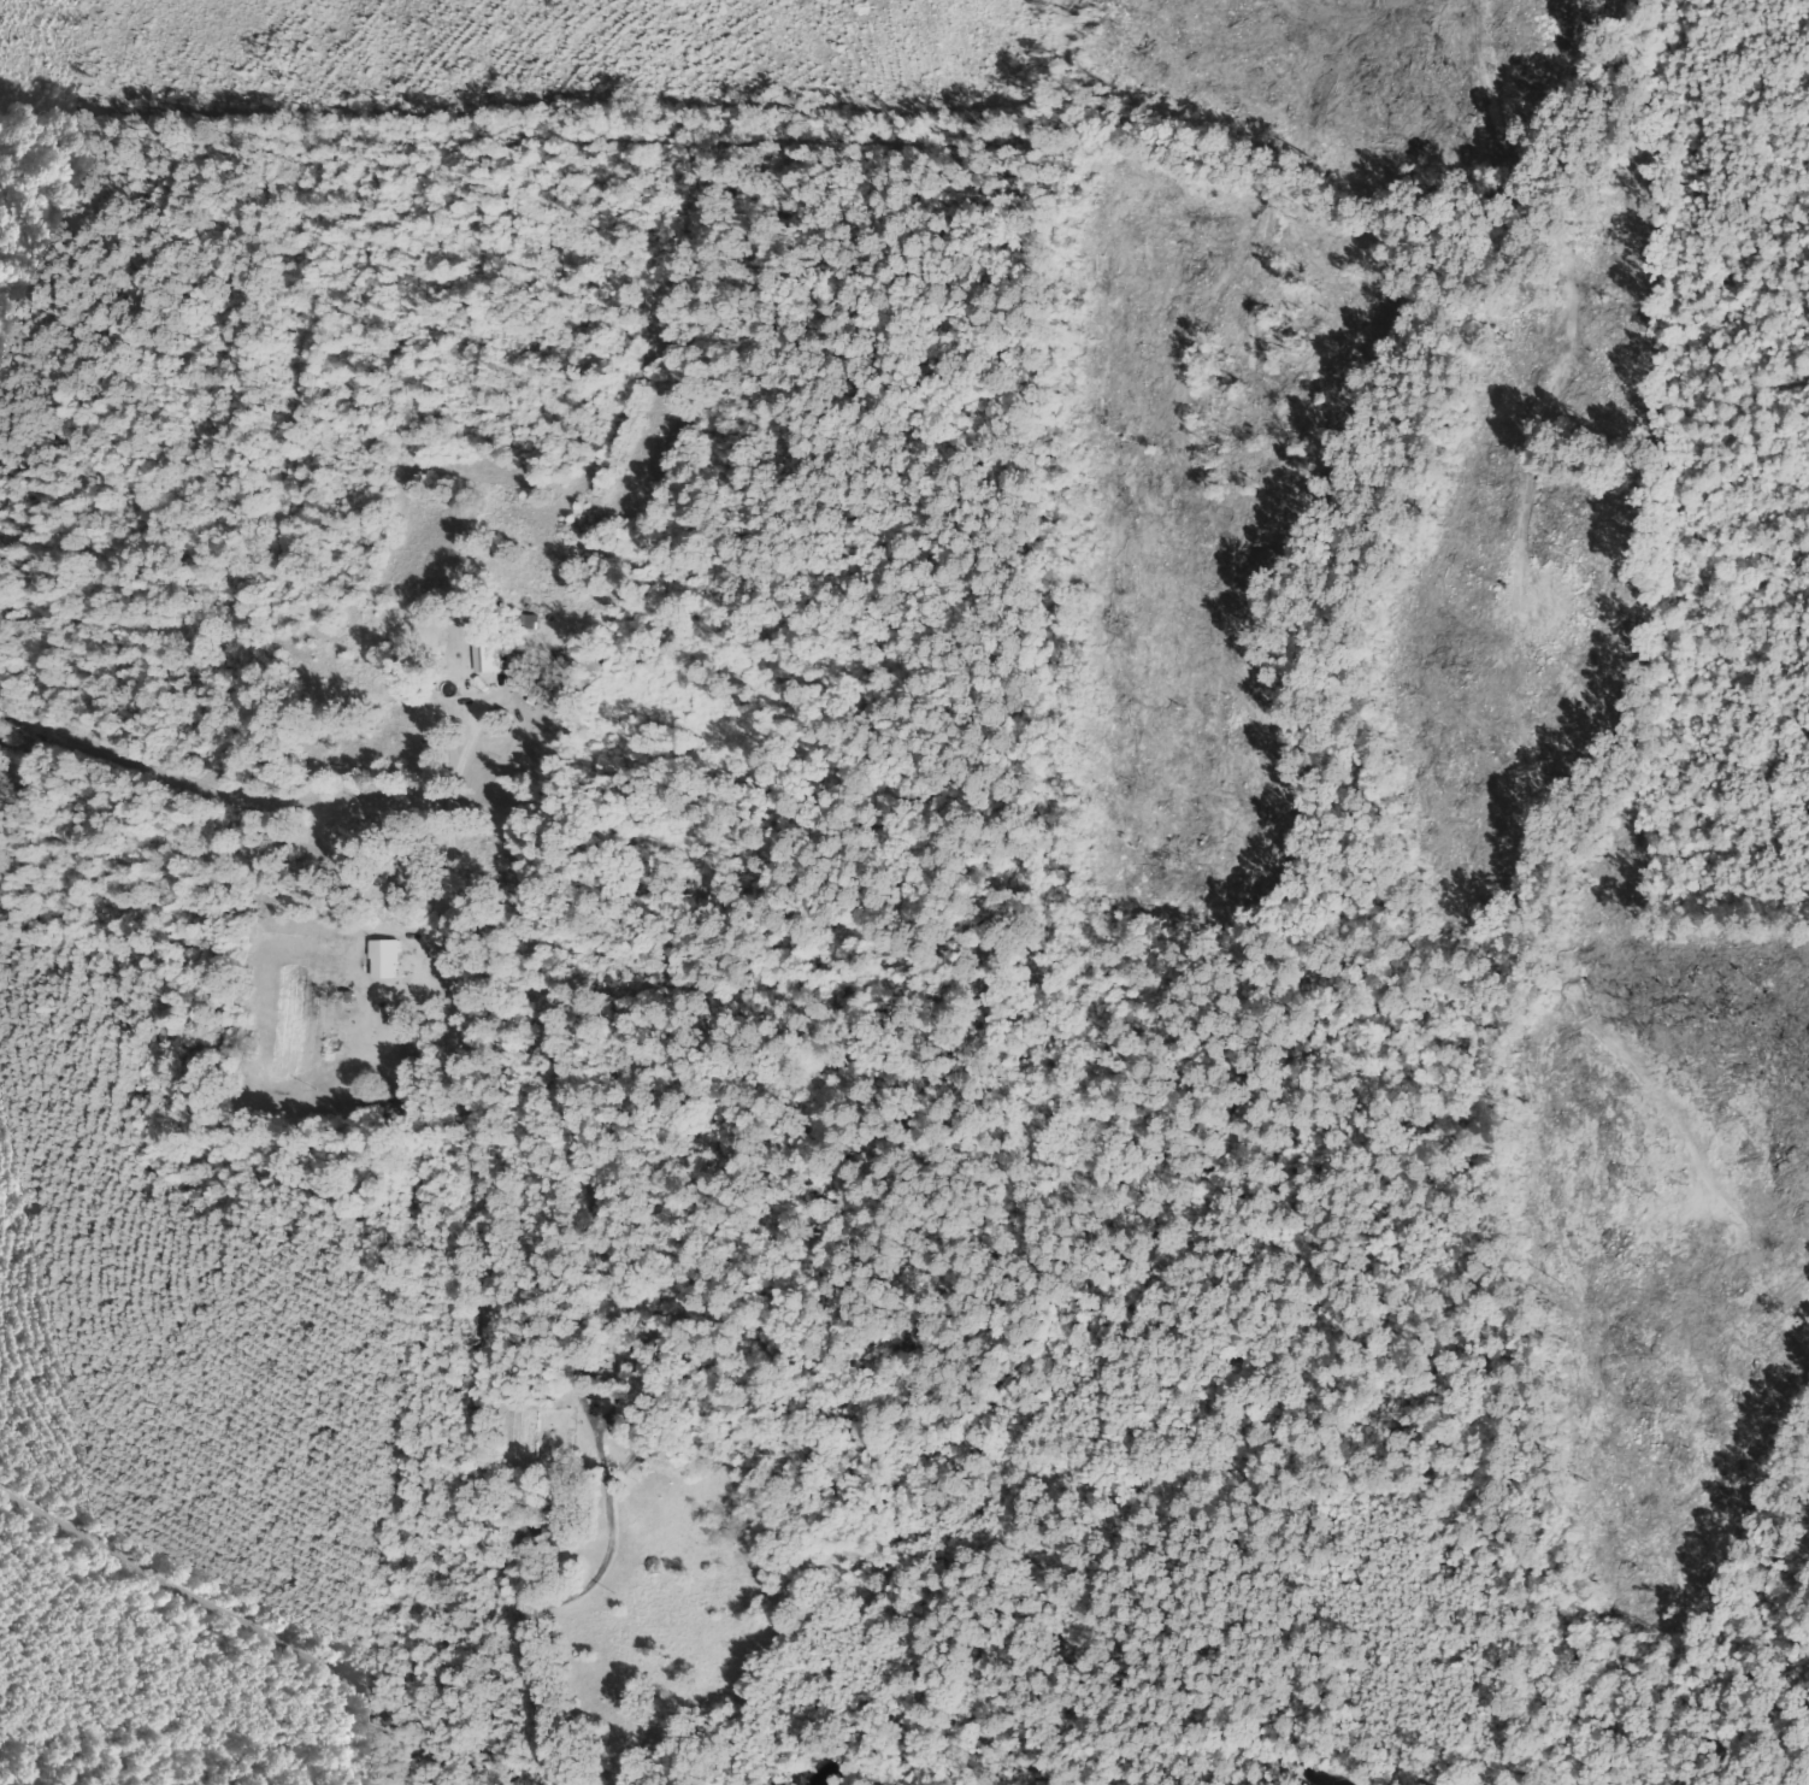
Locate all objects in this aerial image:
building: (484, 654)
building: (515, 670)
building: (382, 958)
road: (33, 1072)
road: (489, 1404)
building: (560, 1530)
road: (247, 1630)
road: (943, 1685)

